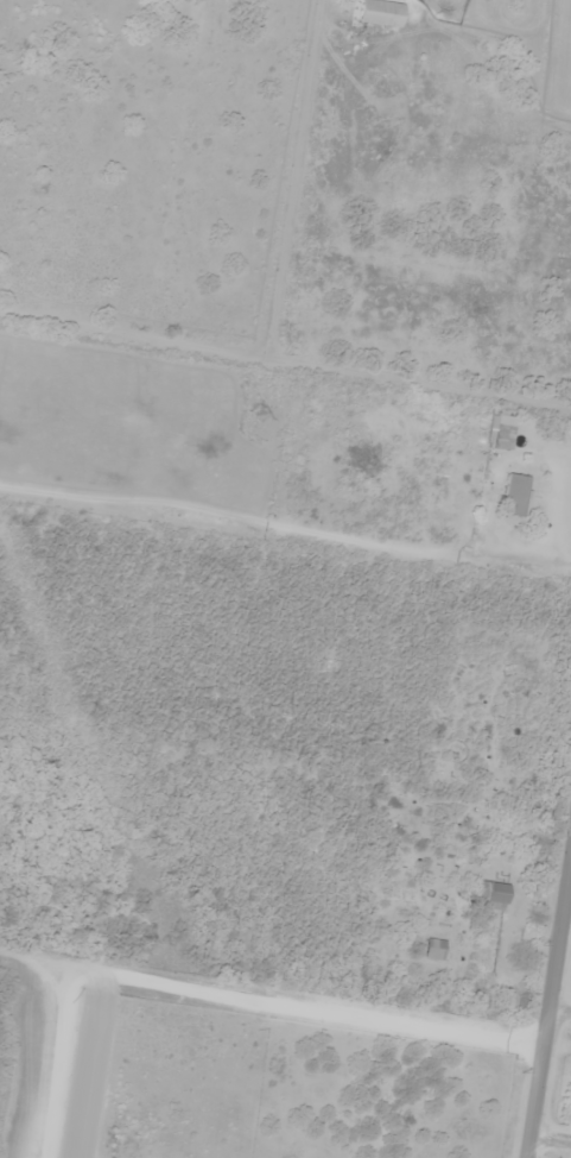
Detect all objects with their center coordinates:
building: (381, 13)
road: (285, 367)
building: (503, 438)
building: (515, 496)
road: (570, 877)
building: (495, 896)
building: (437, 950)
road: (214, 993)
road: (548, 1013)

